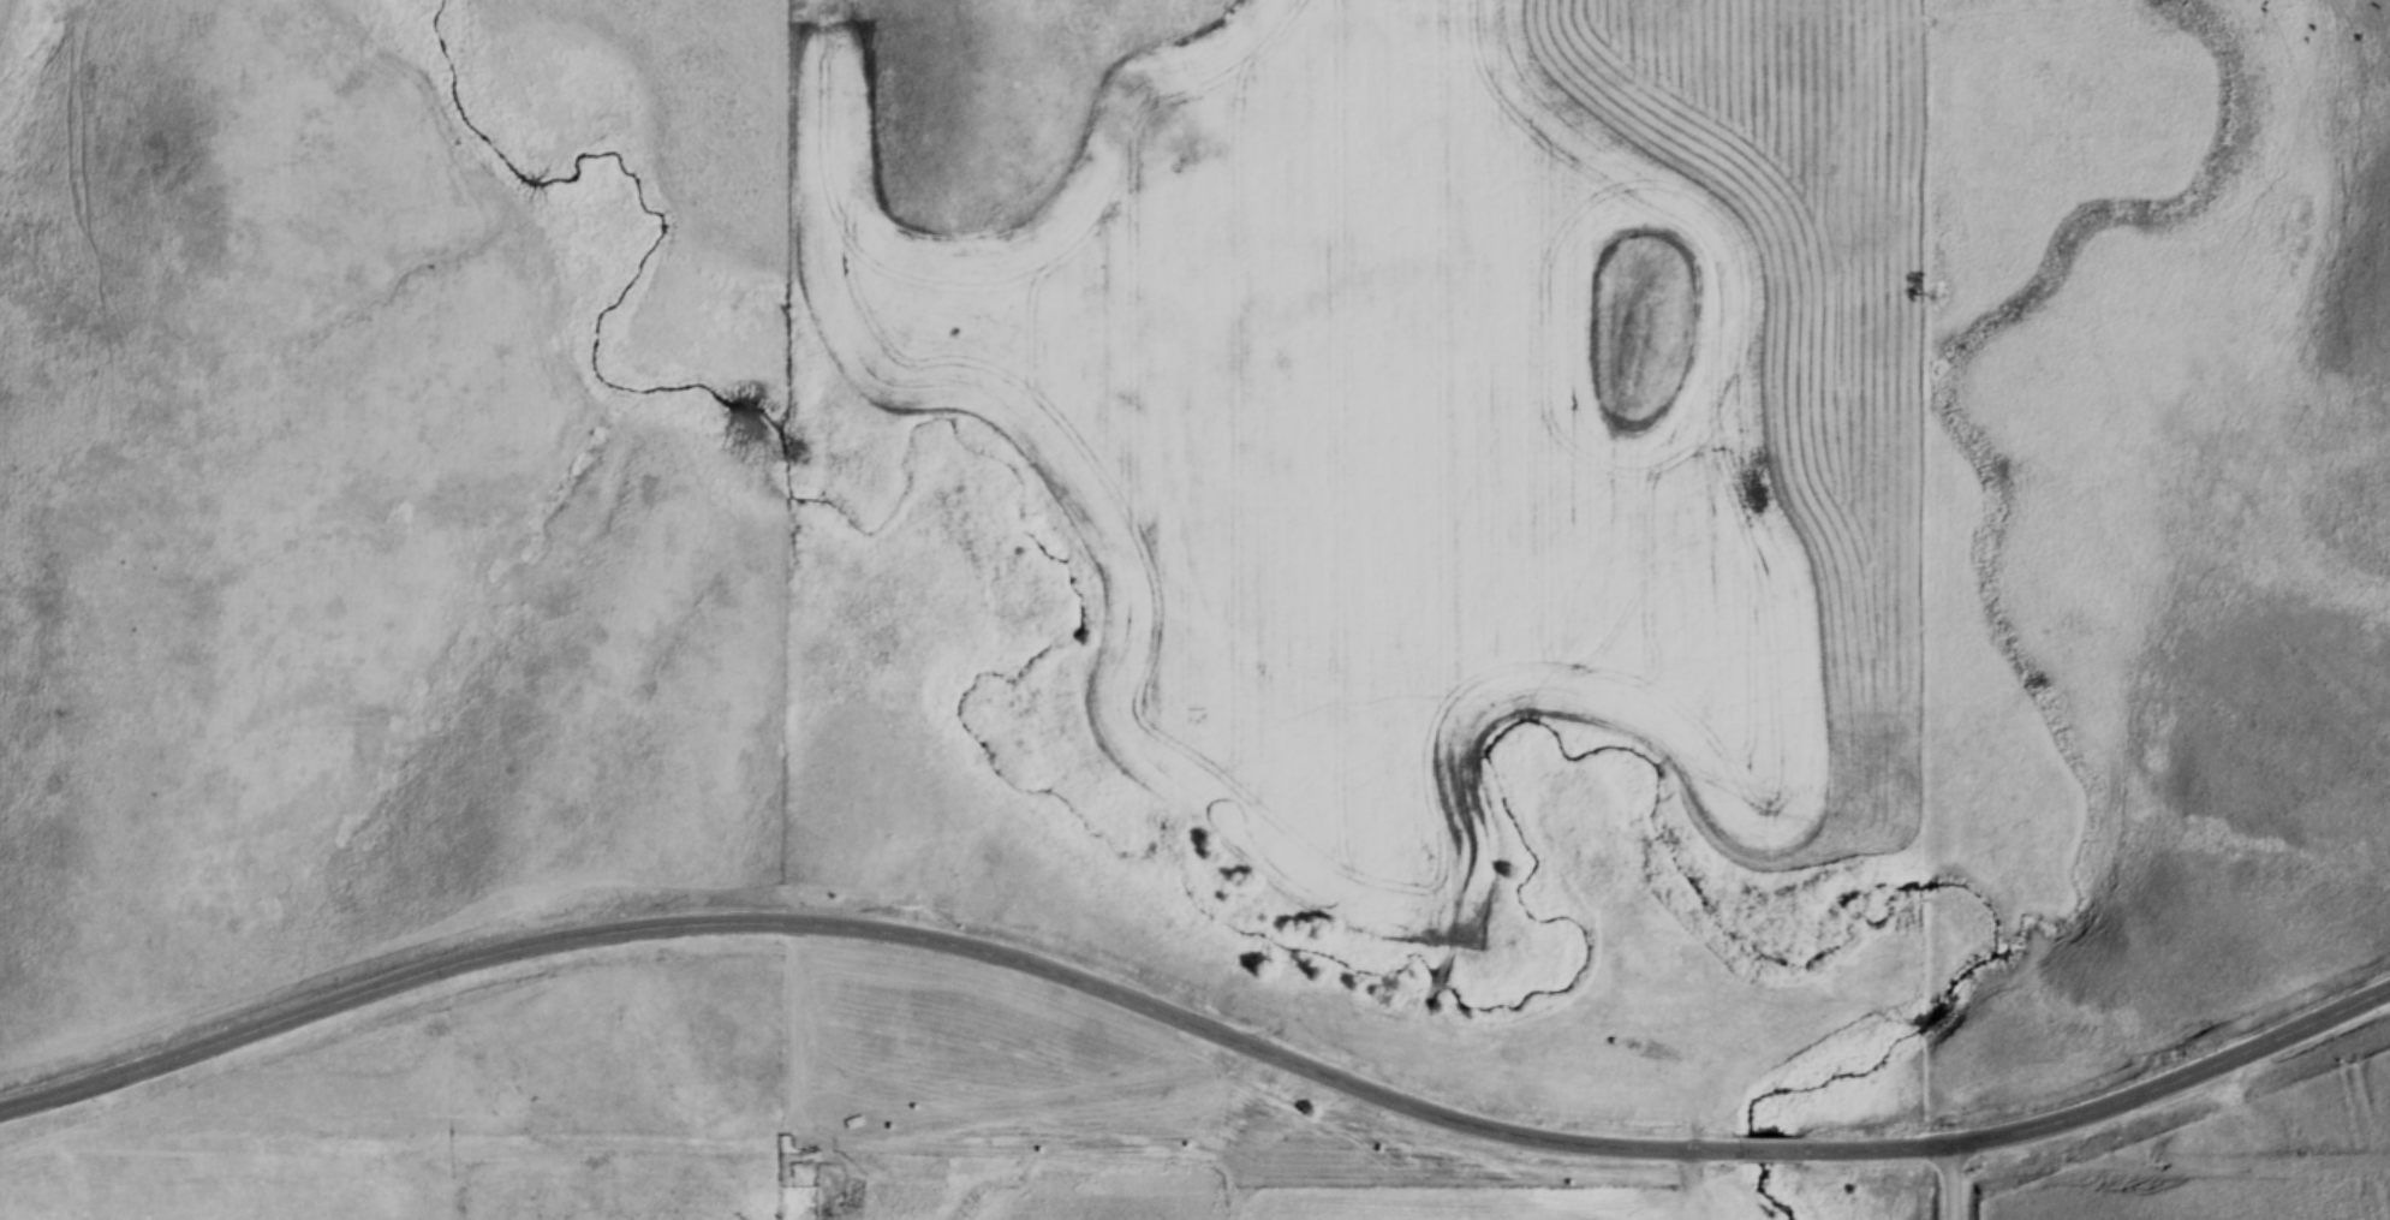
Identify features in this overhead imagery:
road: (981, 959)
road: (2181, 1089)
road: (1961, 1186)

